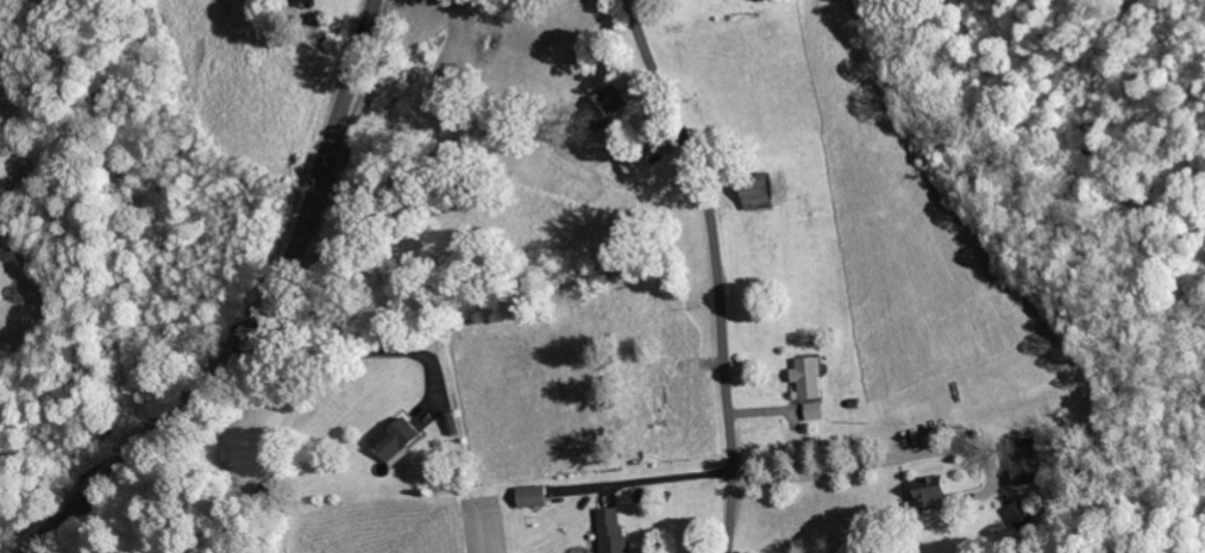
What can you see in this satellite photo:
building: (309, 2)
building: (608, 103)
building: (635, 165)
building: (760, 194)
road: (717, 268)
road: (269, 310)
building: (810, 378)
building: (815, 413)
building: (396, 440)
building: (1031, 464)
building: (931, 495)
building: (535, 497)
building: (1022, 516)
building: (614, 533)

